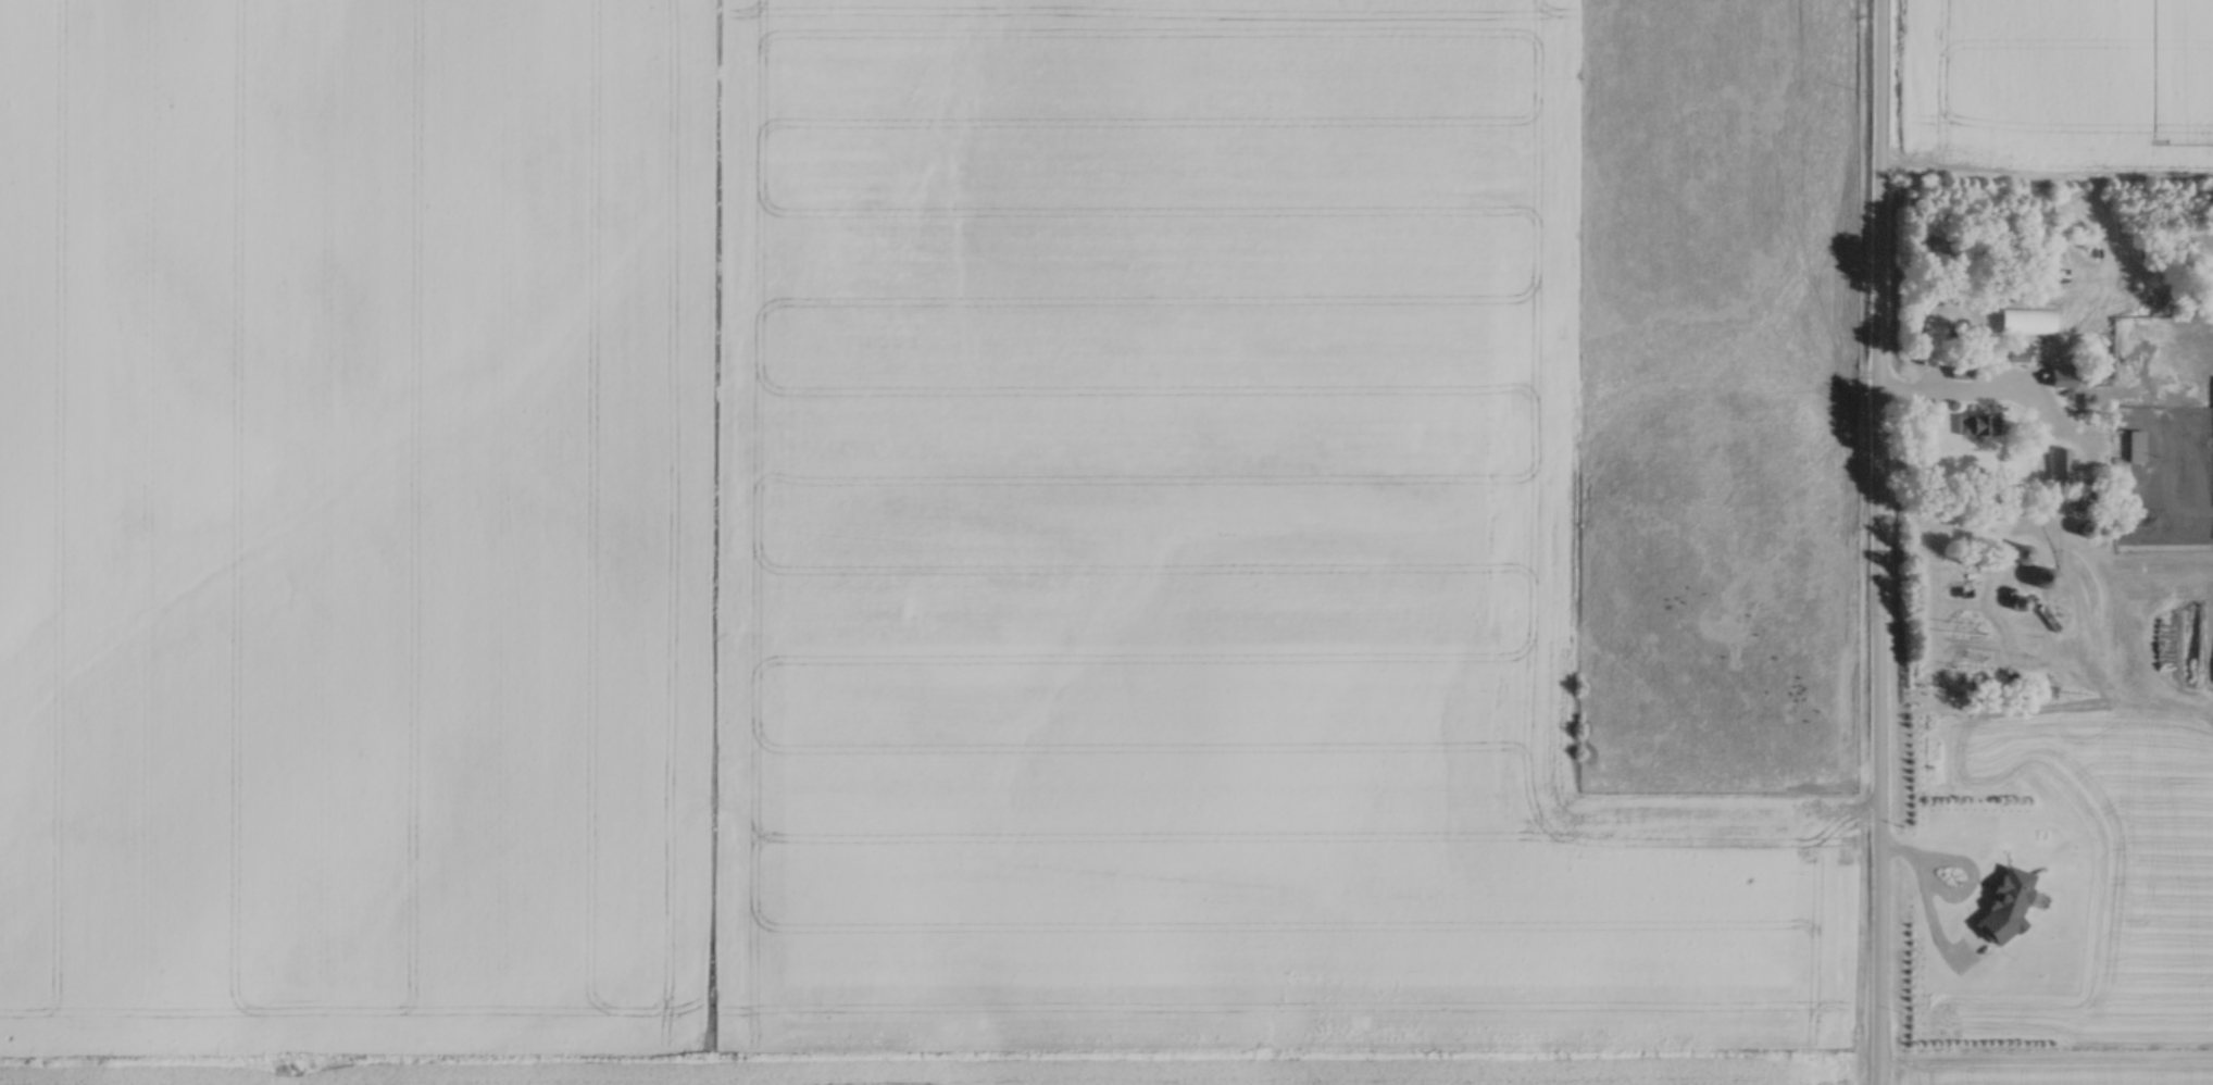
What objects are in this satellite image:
building: (2025, 322)
building: (1928, 340)
building: (2016, 356)
building: (2066, 376)
road: (1941, 396)
building: (1974, 425)
building: (2136, 447)
building: (2061, 460)
road: (1878, 541)
building: (2016, 556)
building: (2039, 578)

